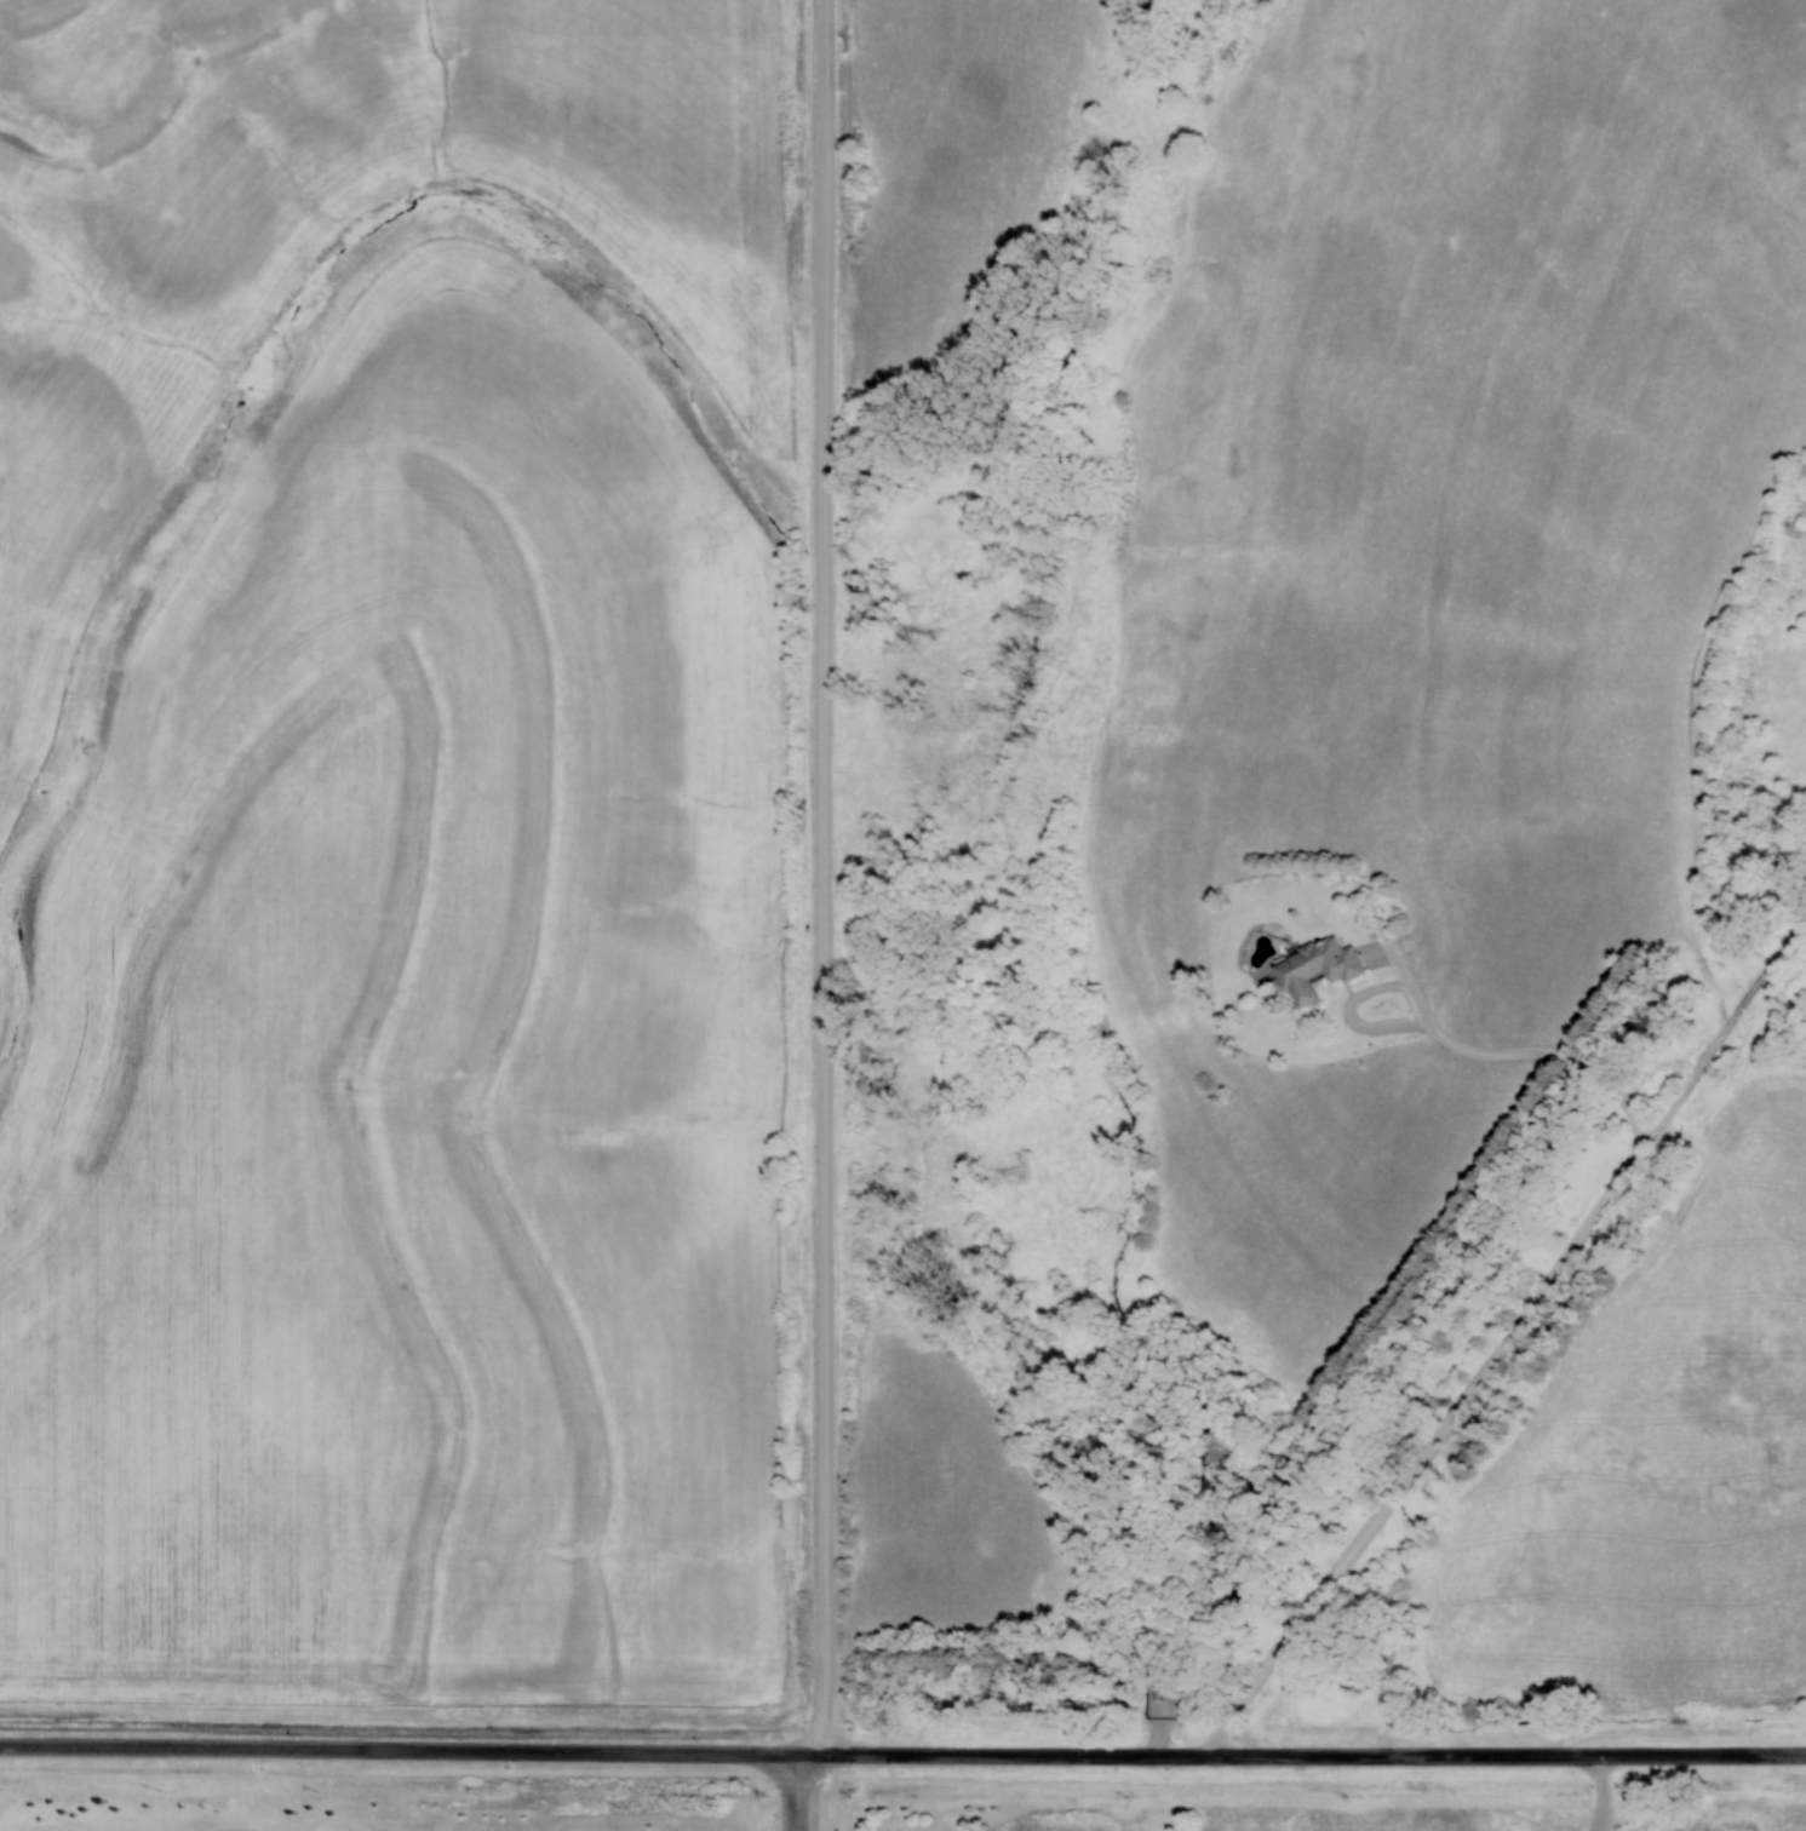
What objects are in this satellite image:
road: (820, 880)
building: (1318, 969)
road: (1391, 992)
road: (1500, 1344)
building: (1160, 1699)
road: (403, 1756)
road: (1307, 1761)
road: (808, 1796)
park: (1205, 1803)

